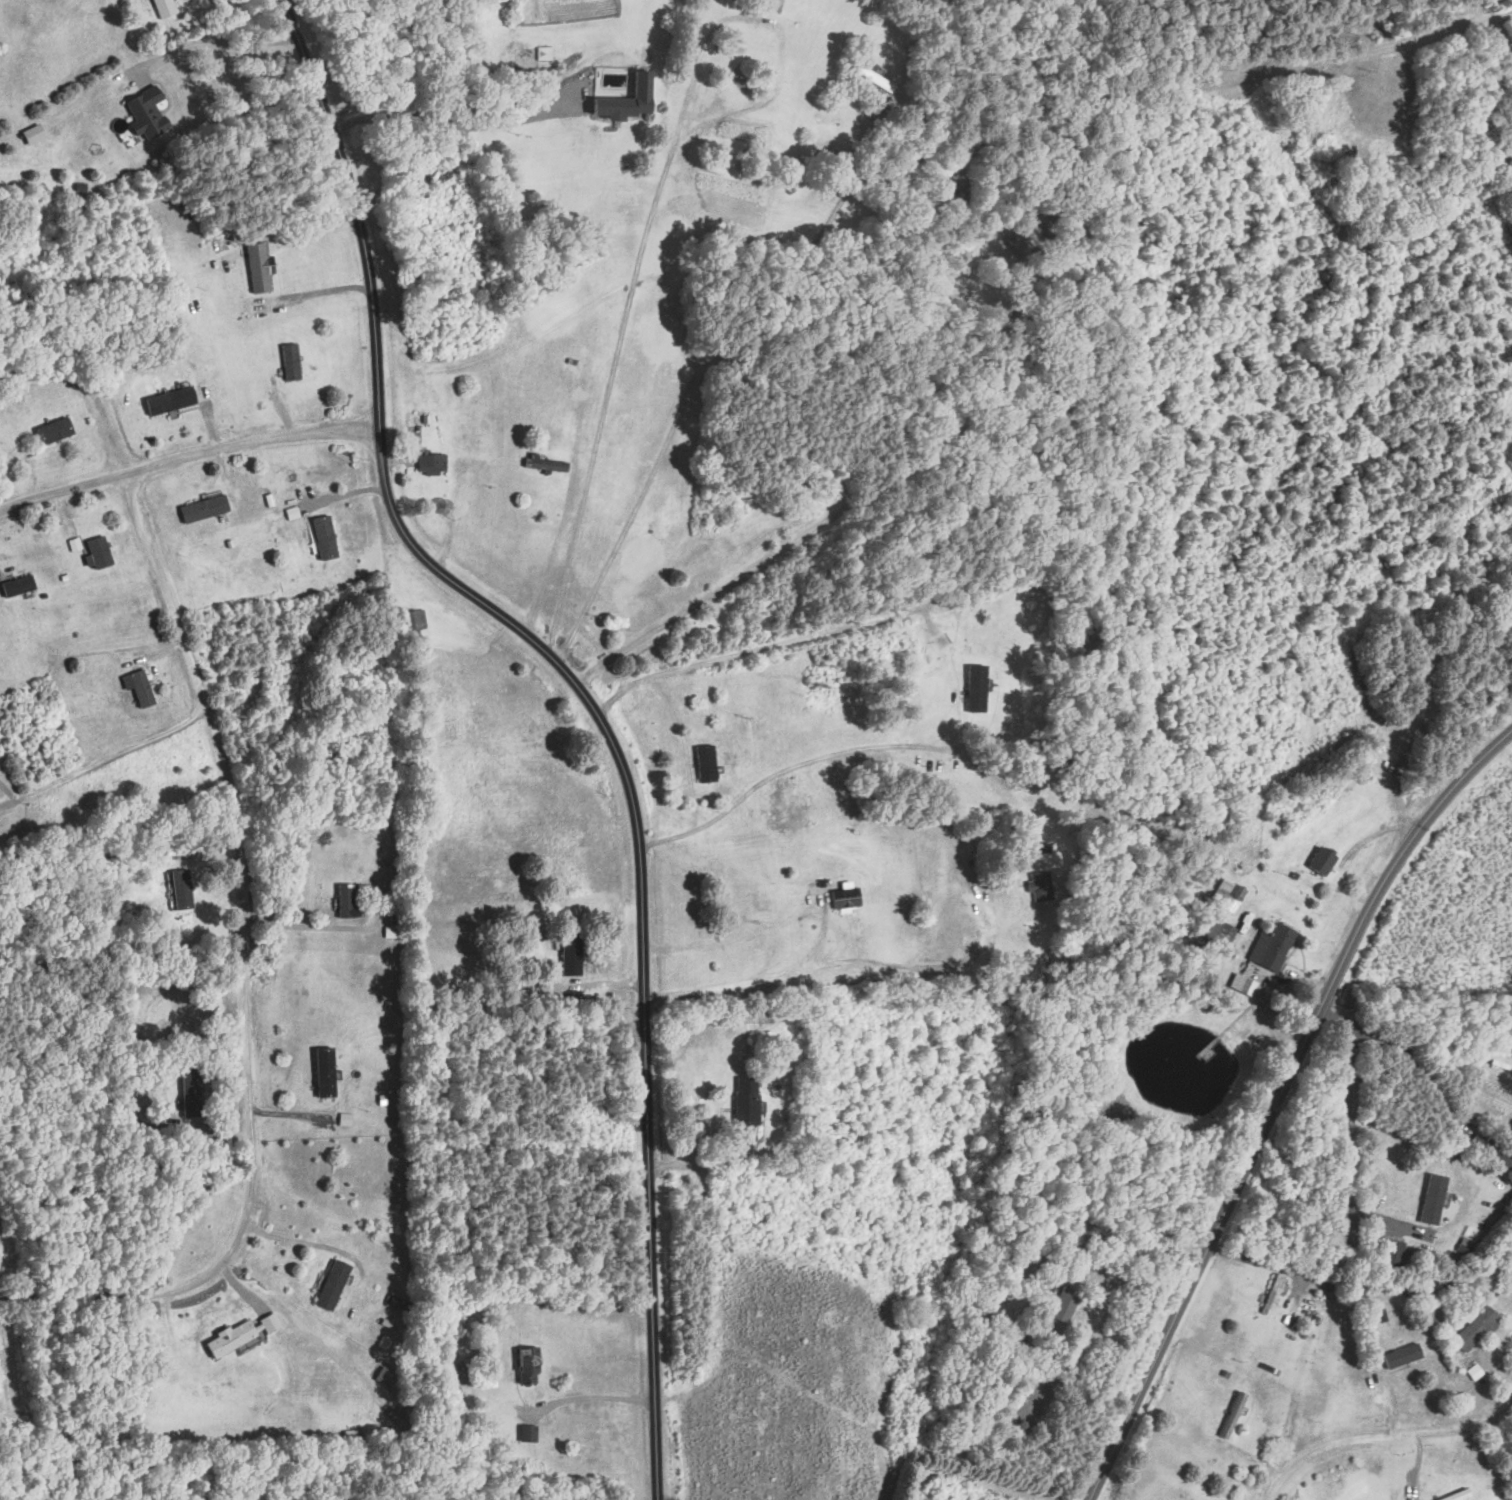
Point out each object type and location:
building: (775, 3)
building: (166, 8)
road: (1448, 16)
road: (210, 43)
road: (1364, 55)
building: (875, 79)
building: (629, 101)
road: (456, 125)
building: (960, 199)
building: (260, 268)
road: (323, 291)
road: (615, 345)
building: (293, 362)
building: (172, 400)
building: (415, 419)
building: (57, 430)
road: (188, 457)
building: (546, 463)
building: (434, 464)
building: (207, 508)
building: (327, 537)
building: (102, 552)
building: (20, 585)
building: (417, 620)
road: (763, 647)
building: (142, 688)
building: (979, 688)
road: (591, 703)
road: (105, 759)
building: (708, 764)
road: (1404, 767)
road: (794, 770)
building: (795, 803)
building: (1042, 846)
building: (1324, 861)
building: (1039, 885)
building: (183, 889)
building: (845, 894)
building: (1230, 894)
building: (349, 902)
building: (1219, 934)
building: (1274, 946)
building: (574, 954)
road: (834, 958)
road: (1341, 958)
road: (243, 977)
building: (1247, 985)
building: (751, 1019)
building: (763, 1041)
building: (1502, 1065)
road: (1415, 1066)
building: (327, 1072)
building: (192, 1092)
road: (1345, 1099)
building: (749, 1104)
building: (1494, 1151)
building: (1436, 1199)
road: (1155, 1246)
building: (1394, 1253)
building: (335, 1285)
building: (1274, 1295)
building: (402, 1303)
building: (1066, 1304)
building: (272, 1324)
building: (1479, 1329)
building: (234, 1339)
building: (1406, 1357)
road: (1154, 1359)
building: (531, 1366)
road: (589, 1397)
building: (1235, 1416)
building: (530, 1434)
road: (1382, 1437)
building: (1461, 1495)

